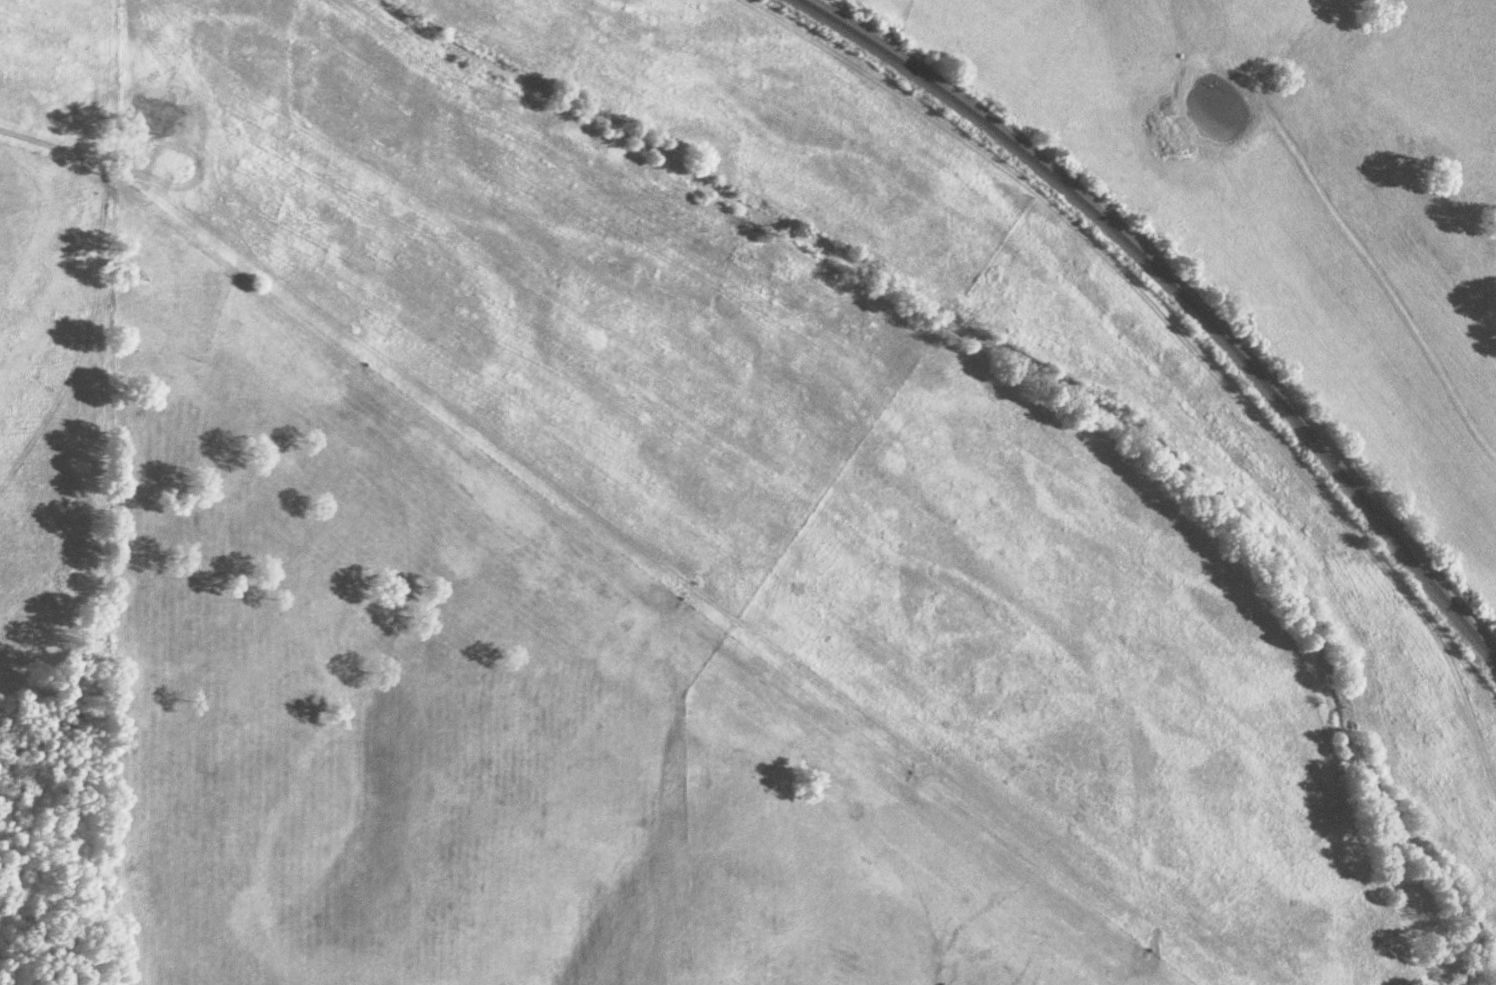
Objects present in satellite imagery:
railway: (1177, 298)

